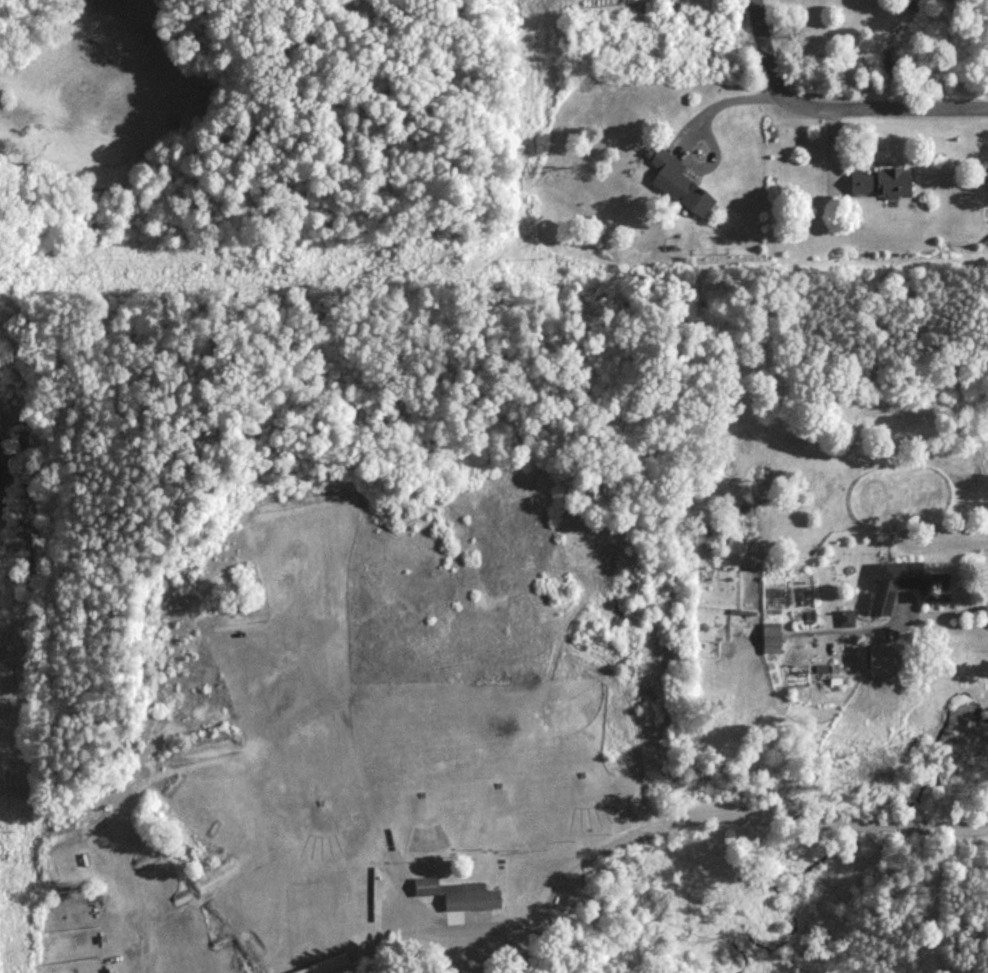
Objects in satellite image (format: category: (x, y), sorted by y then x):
road: (832, 106)
road: (723, 107)
building: (881, 188)
building: (679, 191)
building: (904, 591)
road: (948, 620)
building: (846, 625)
building: (771, 644)
building: (881, 664)
road: (710, 815)
road: (926, 891)
building: (459, 900)
building: (332, 968)

